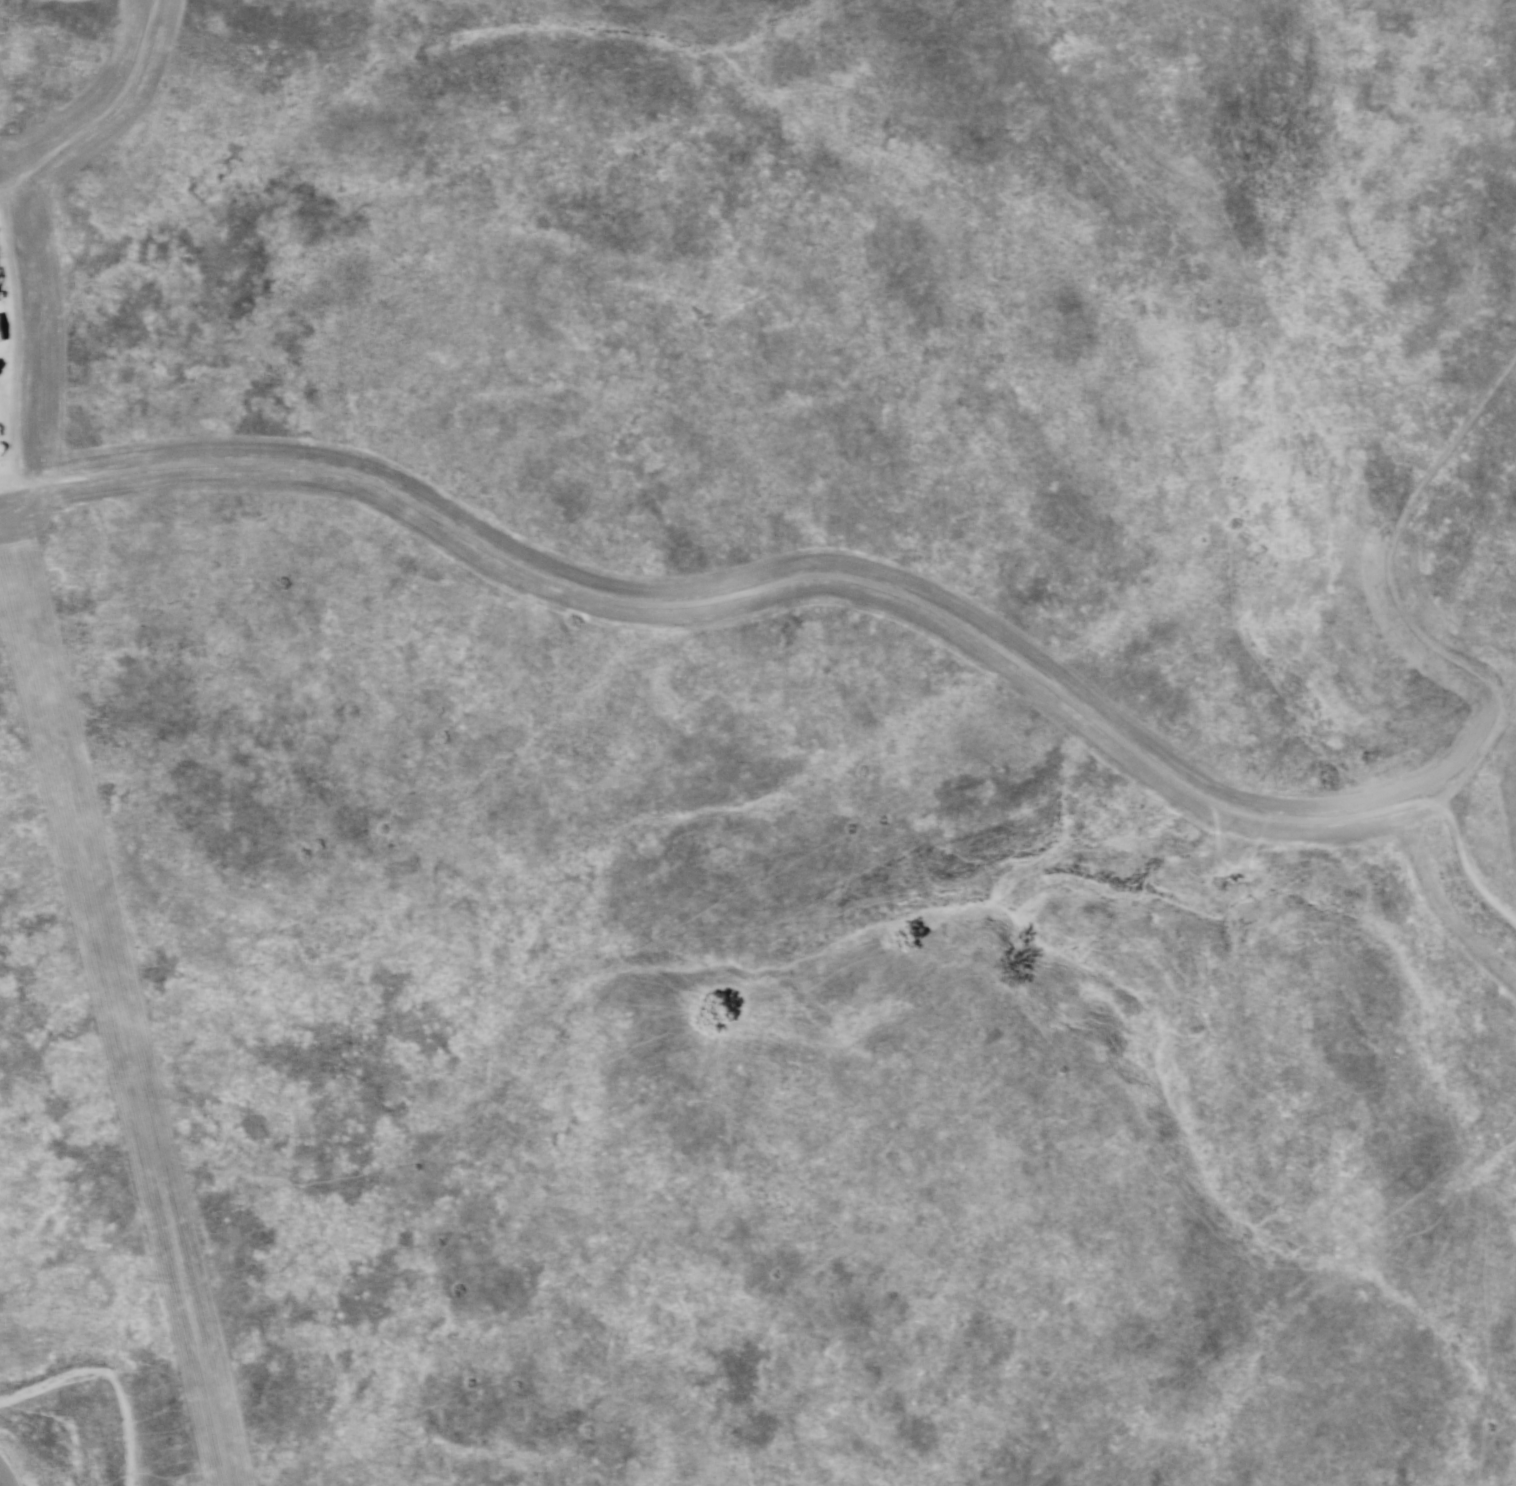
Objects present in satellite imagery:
building: (0, 300)
building: (3, 334)
road: (806, 574)
road: (1410, 604)

